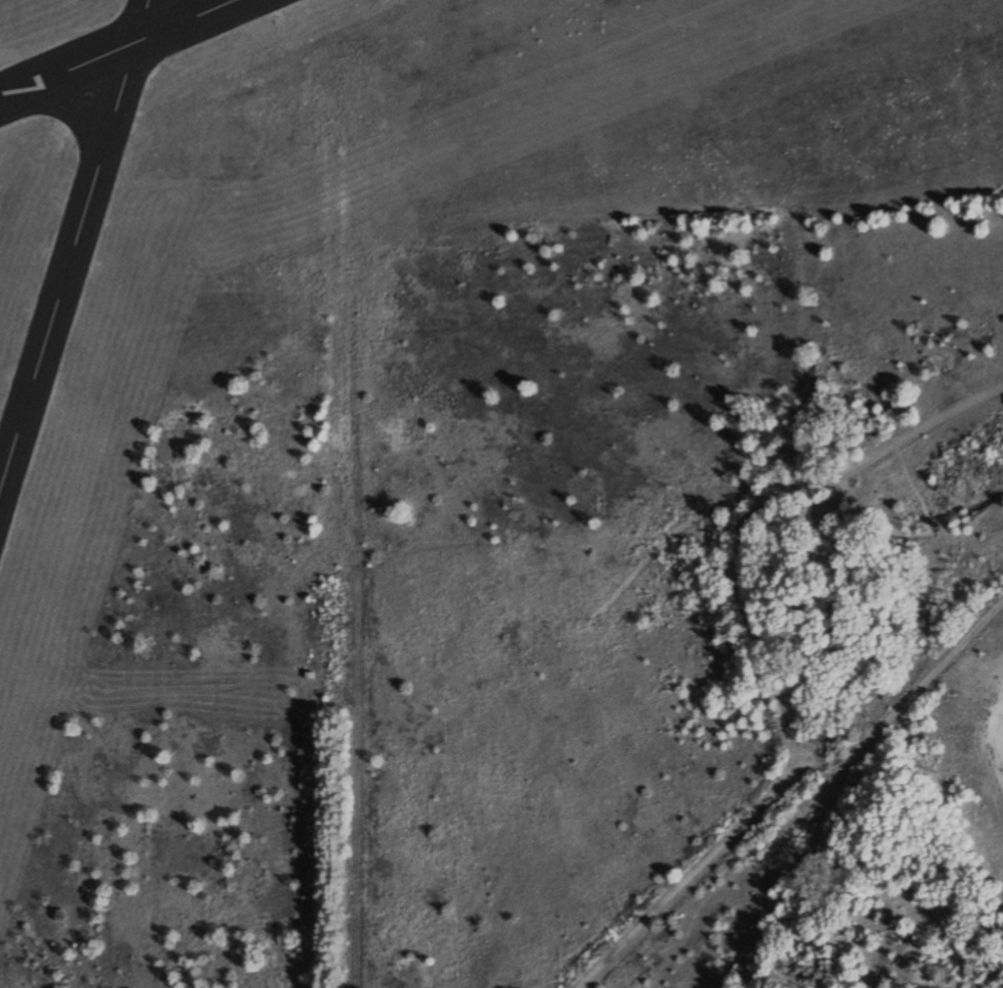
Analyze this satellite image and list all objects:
airport runway: (116, 49)
airport runway: (74, 247)
airport: (331, 369)
road: (359, 784)
road: (688, 877)

